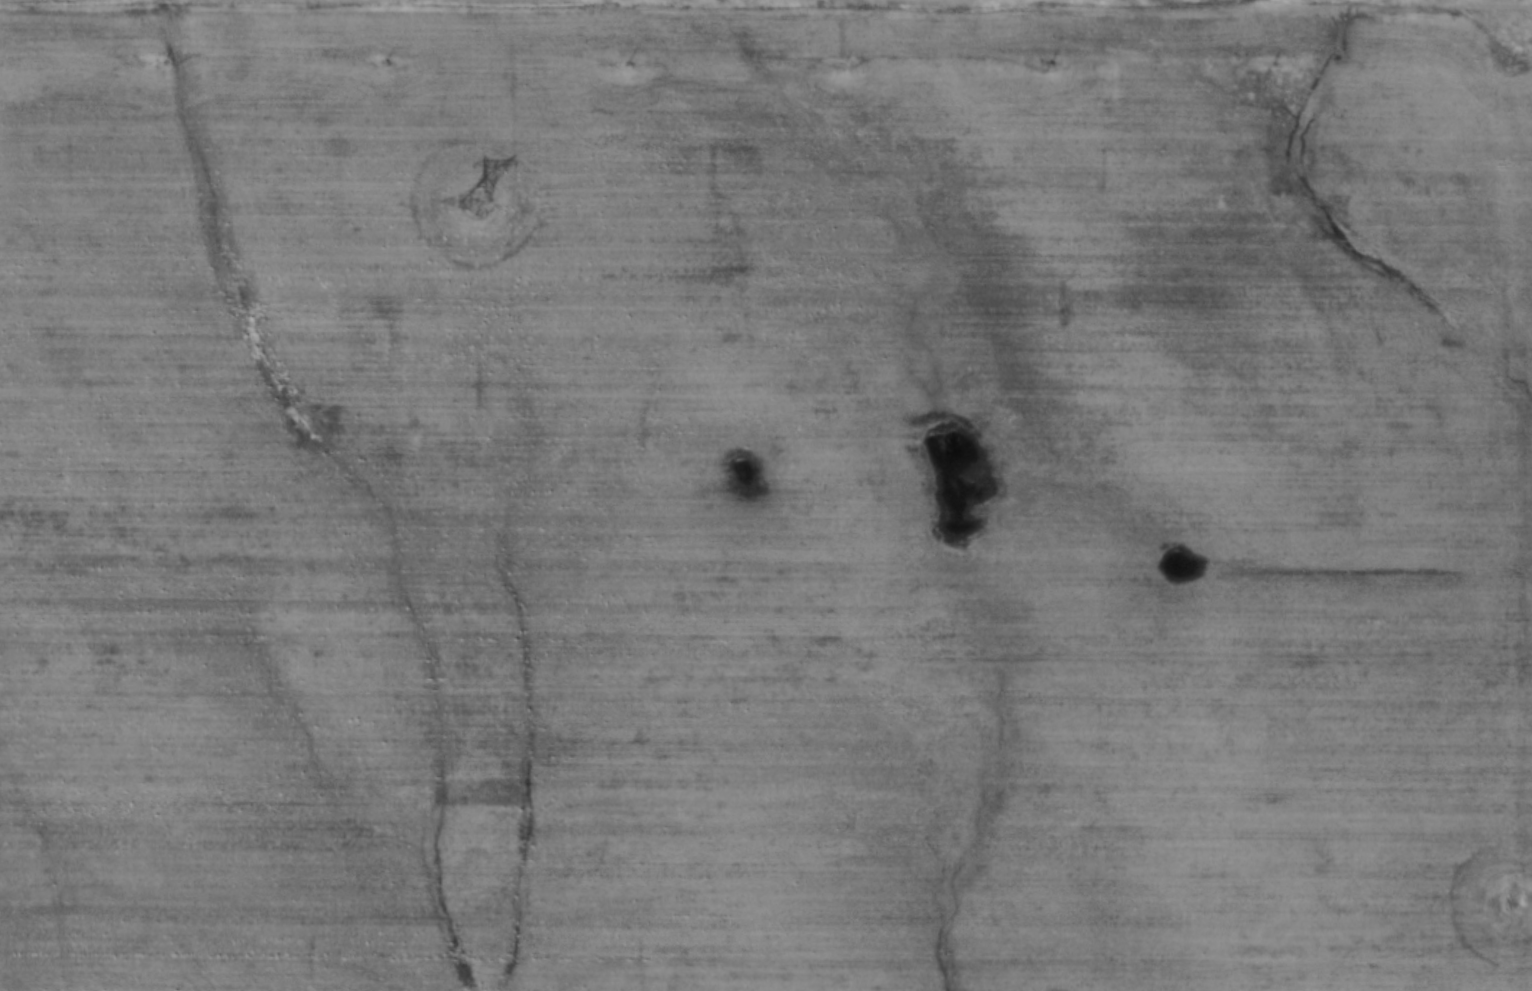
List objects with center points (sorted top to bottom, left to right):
road: (1303, 4)
road: (1525, 165)
power tower: (481, 201)

